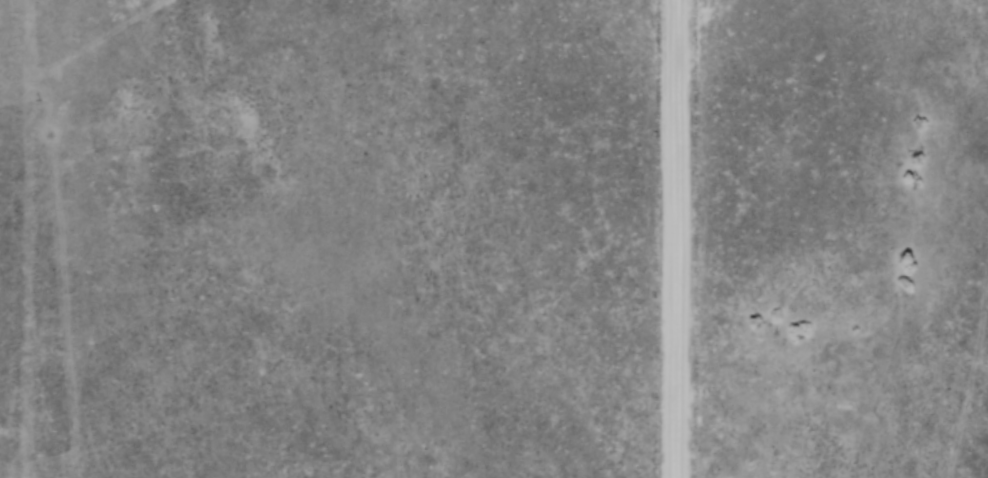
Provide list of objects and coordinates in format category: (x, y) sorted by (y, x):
road: (674, 238)

